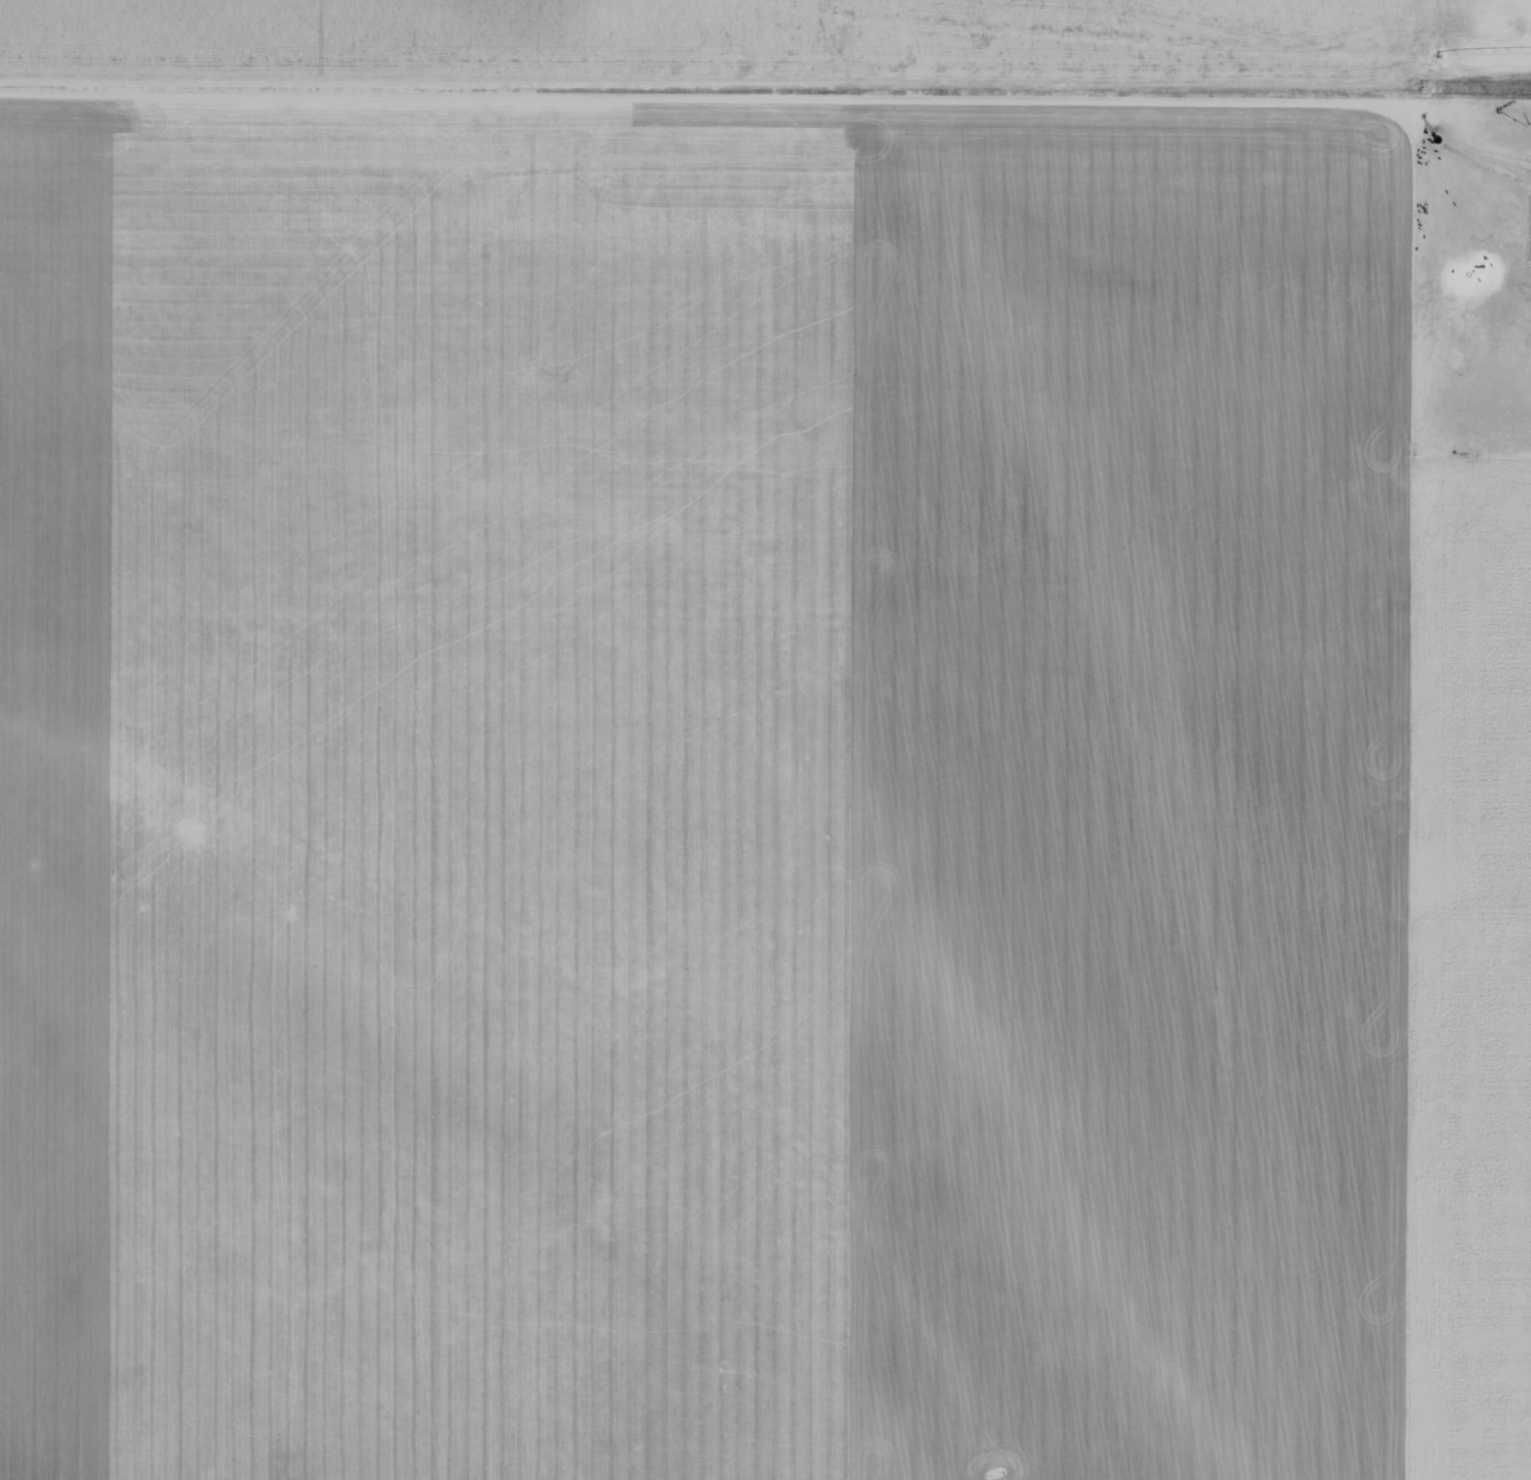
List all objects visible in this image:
road: (1323, 216)
road: (453, 1104)

